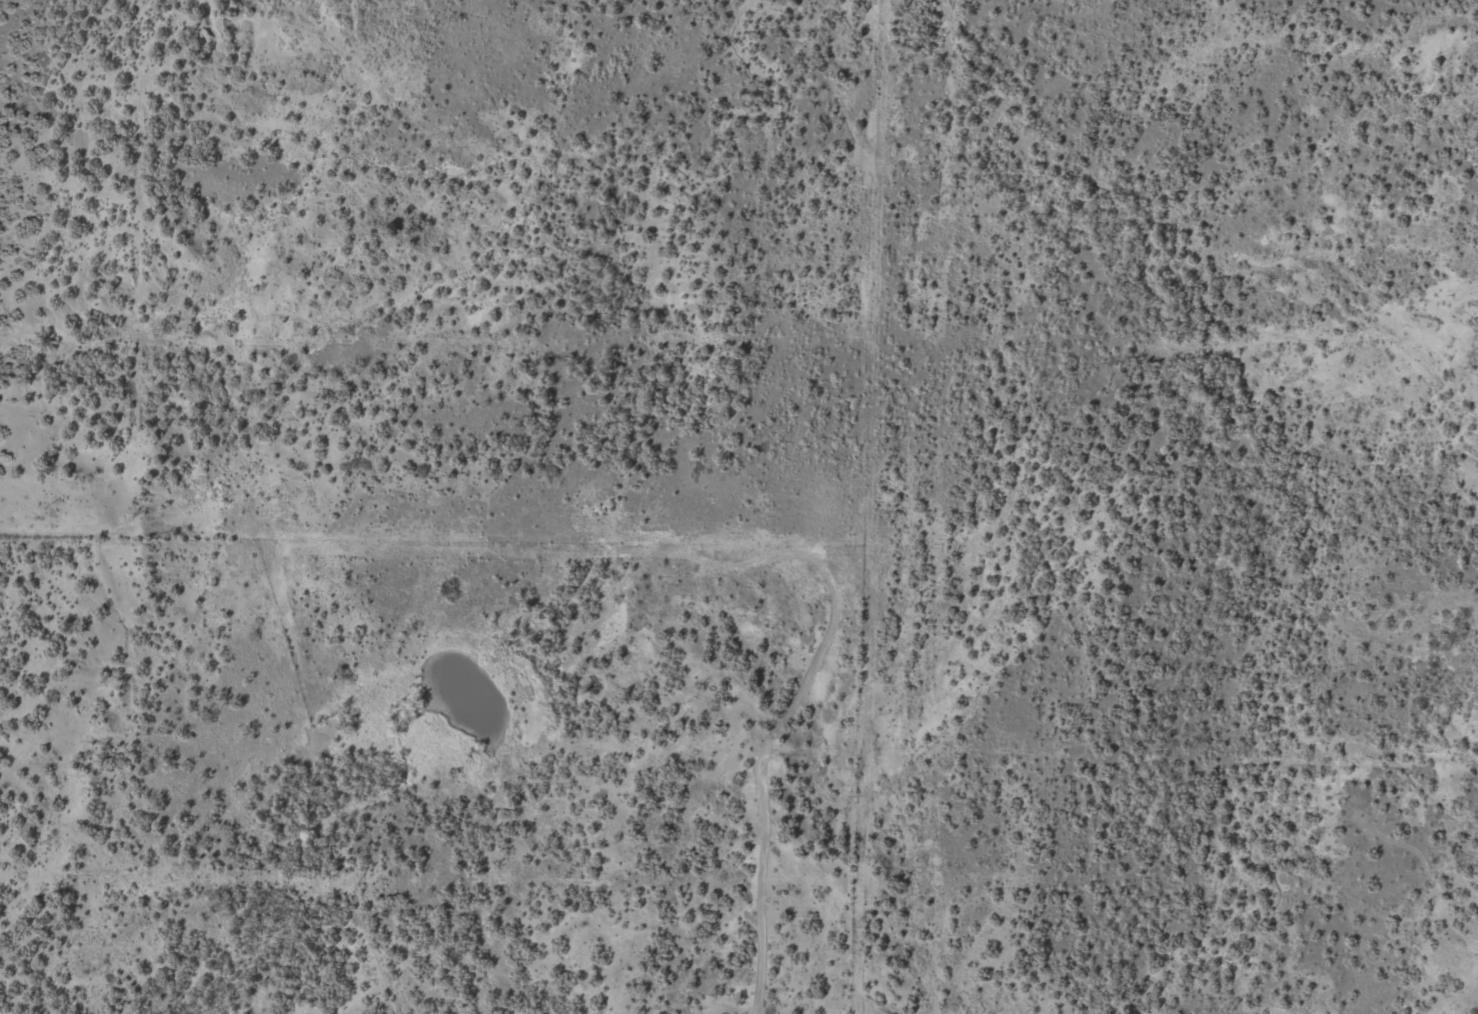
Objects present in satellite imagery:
road: (53, 74)
road: (149, 893)

